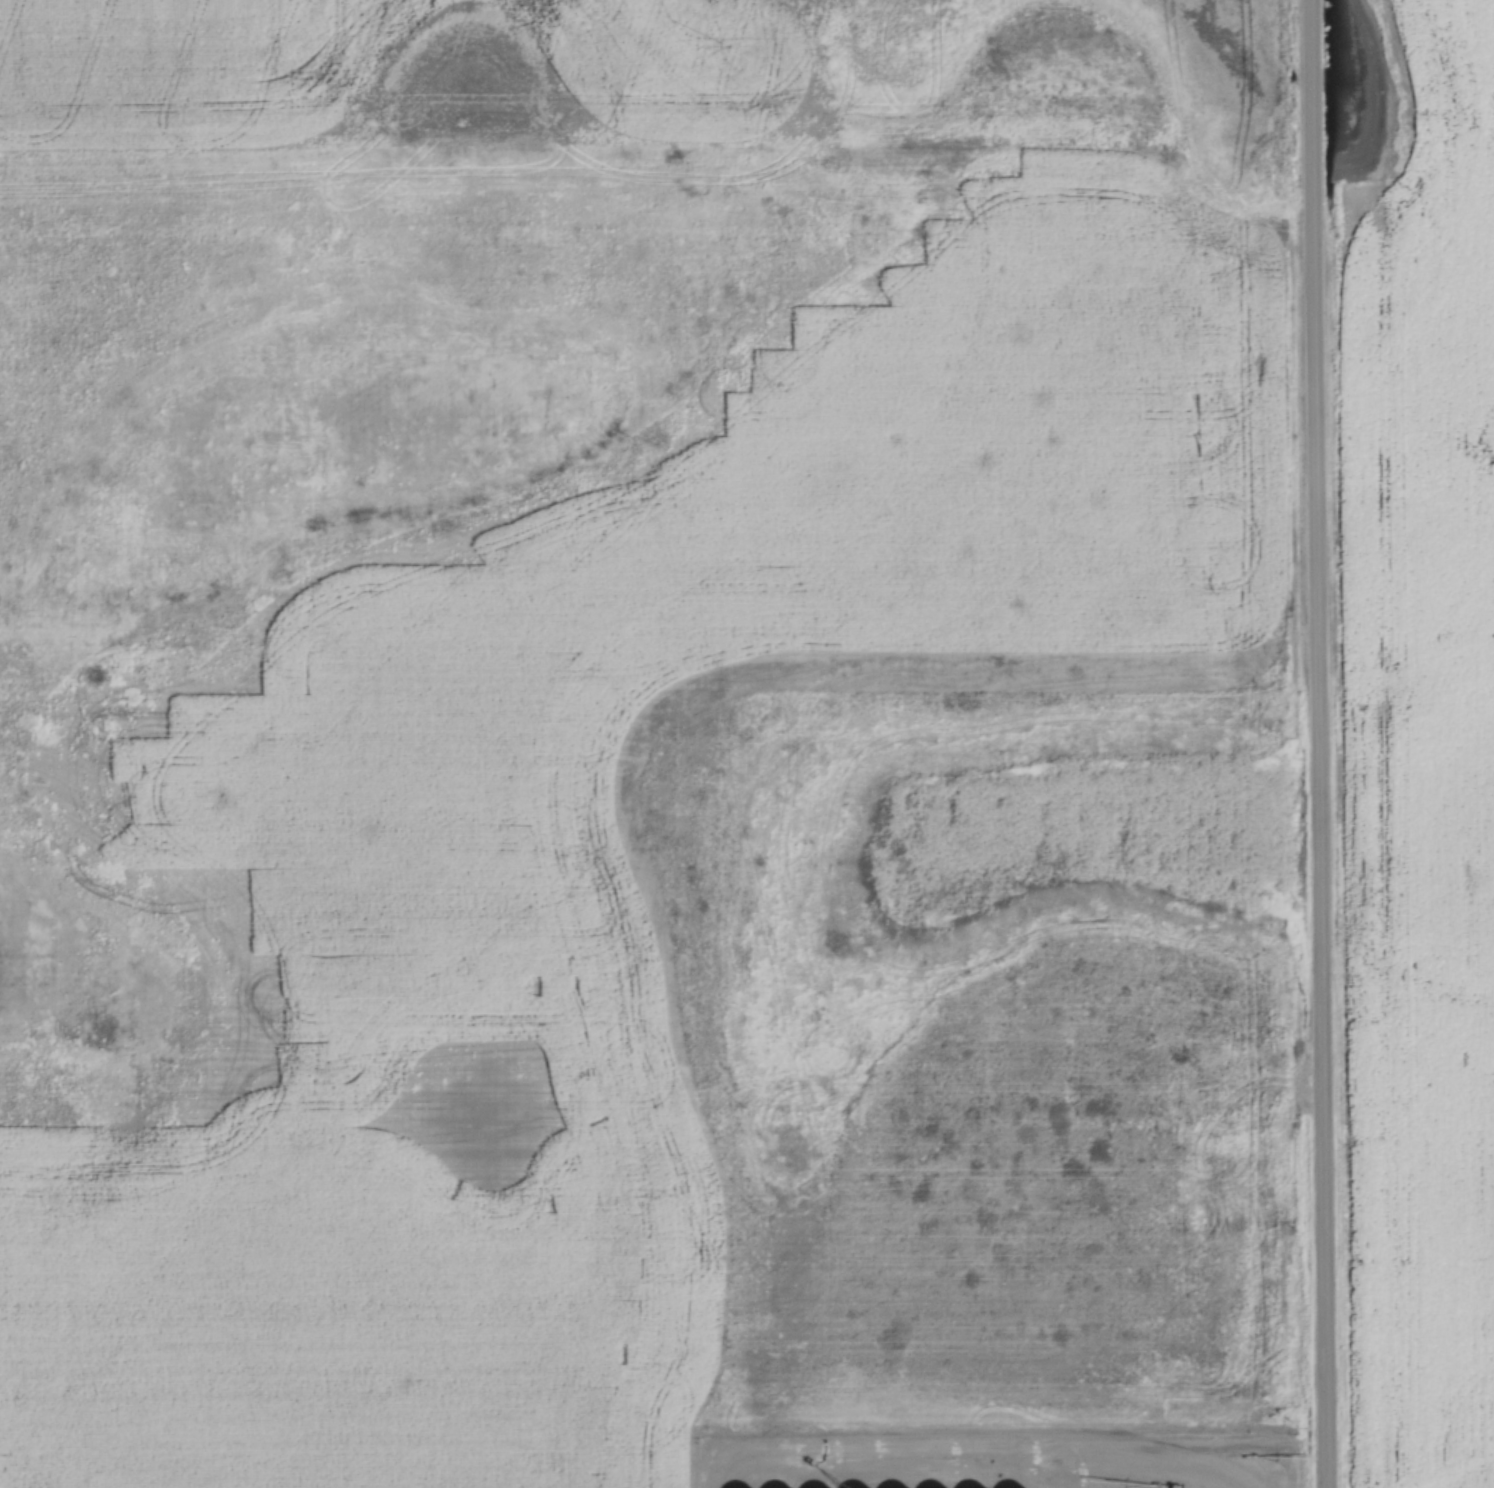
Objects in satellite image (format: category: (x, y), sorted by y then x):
road: (1315, 744)

